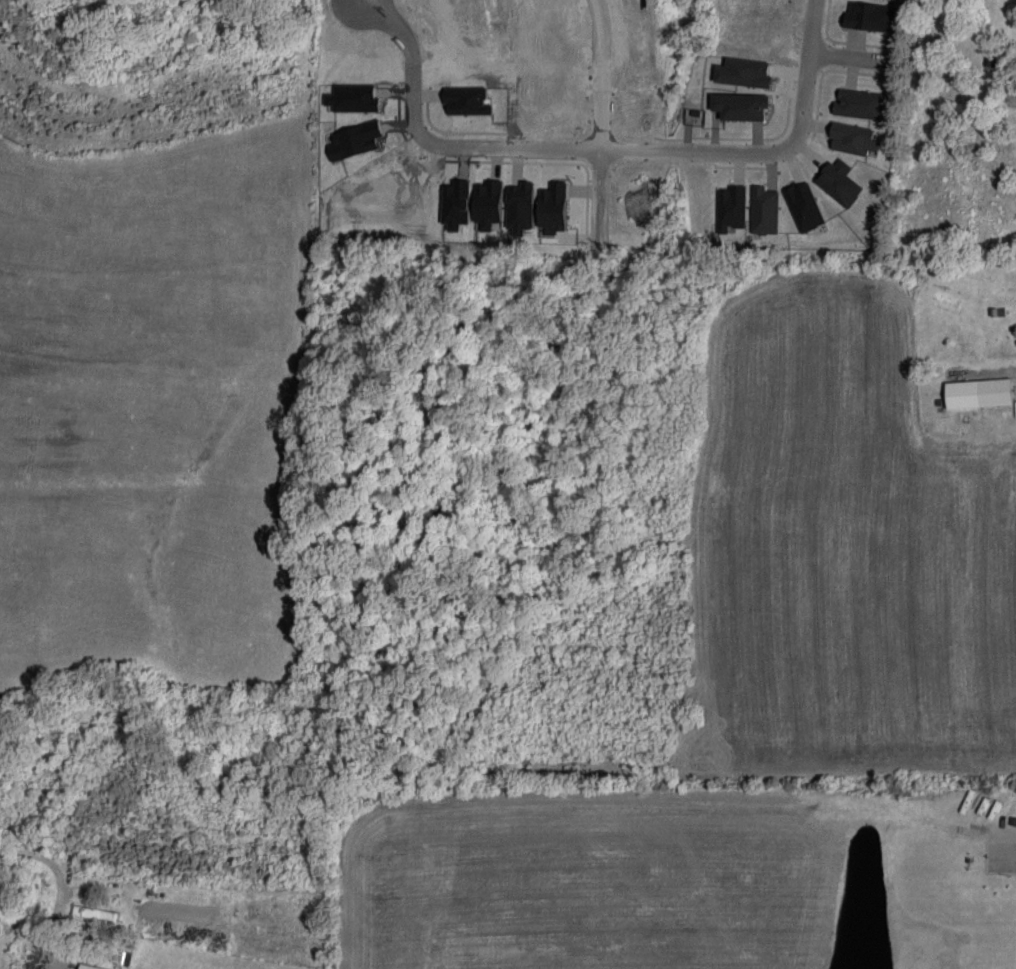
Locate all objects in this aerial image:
building: (872, 17)
road: (847, 57)
building: (745, 73)
building: (353, 98)
building: (467, 101)
building: (859, 104)
building: (741, 106)
road: (601, 119)
building: (853, 139)
building: (355, 140)
road: (601, 153)
building: (840, 182)
building: (457, 204)
building: (489, 204)
building: (804, 206)
building: (554, 207)
building: (522, 208)
building: (732, 208)
building: (764, 210)
building: (979, 393)
road: (62, 887)
building: (89, 967)

